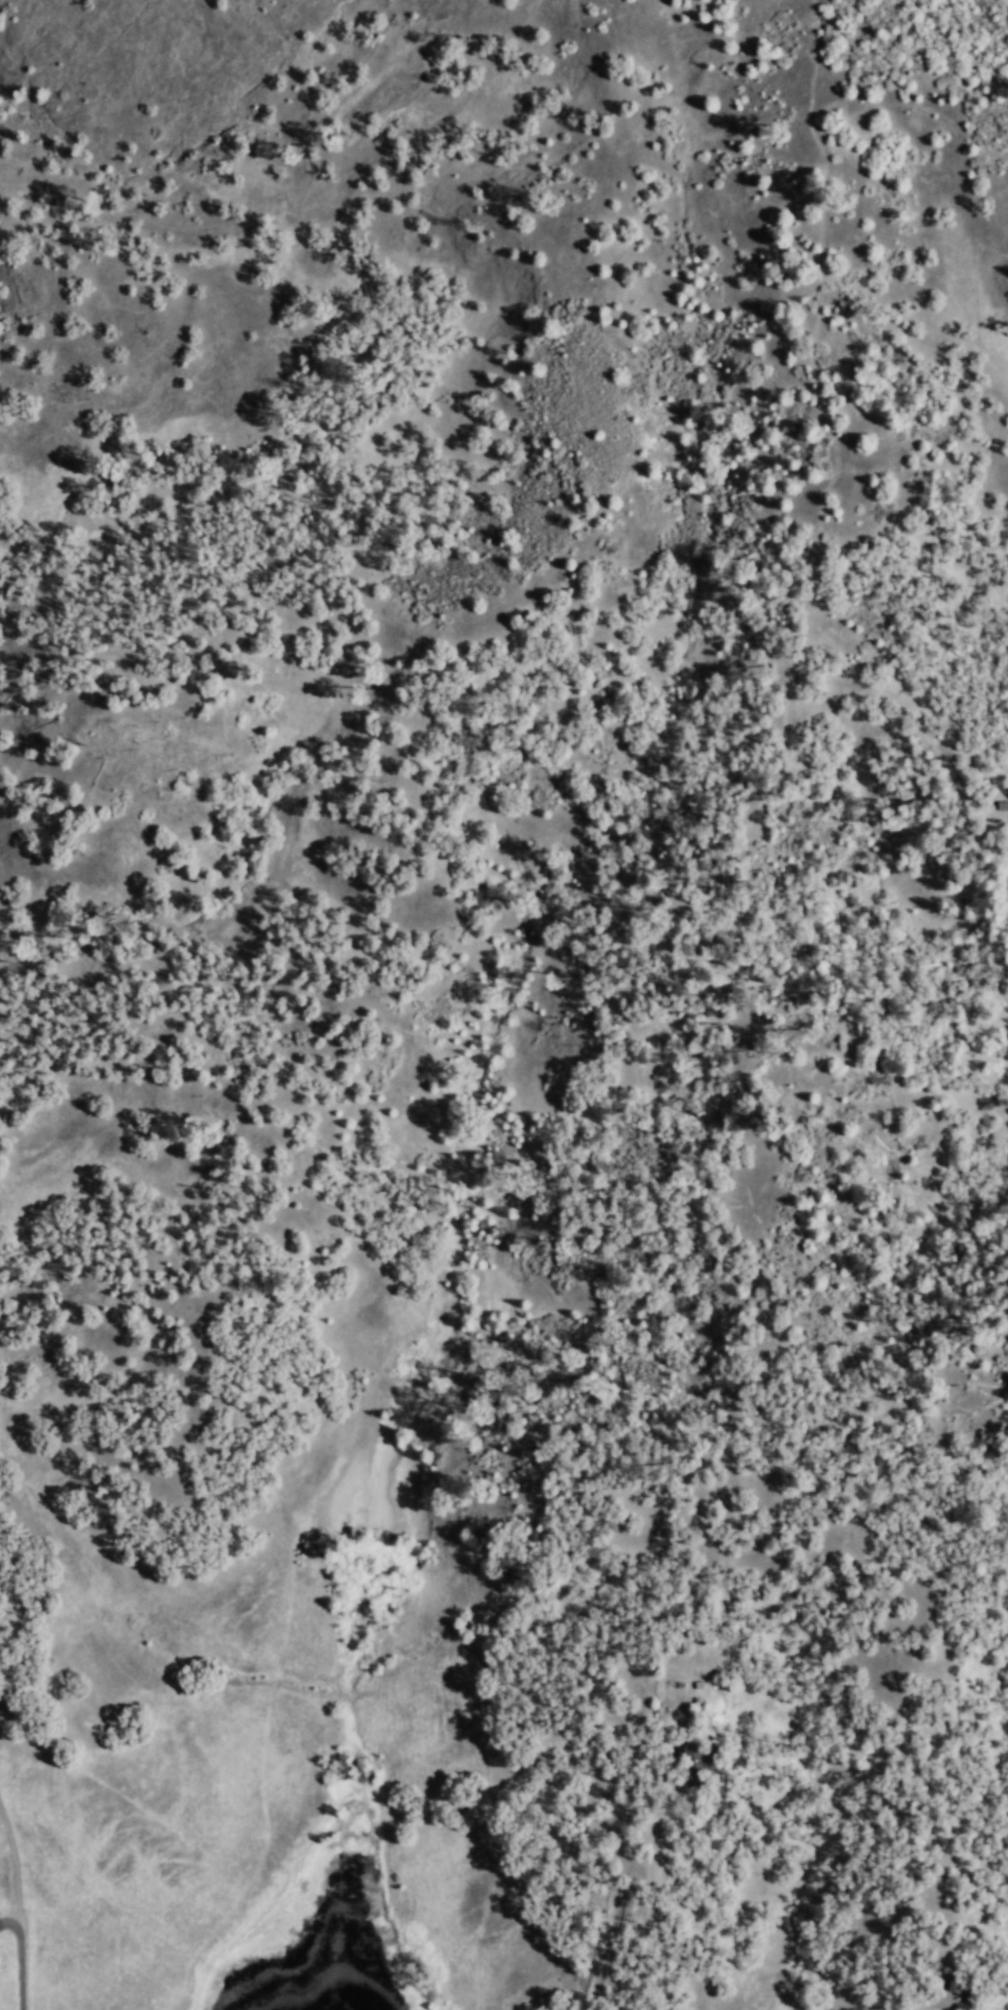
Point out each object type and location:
building: (686, 1758)
road: (655, 1914)
road: (12, 1947)
road: (25, 1974)

